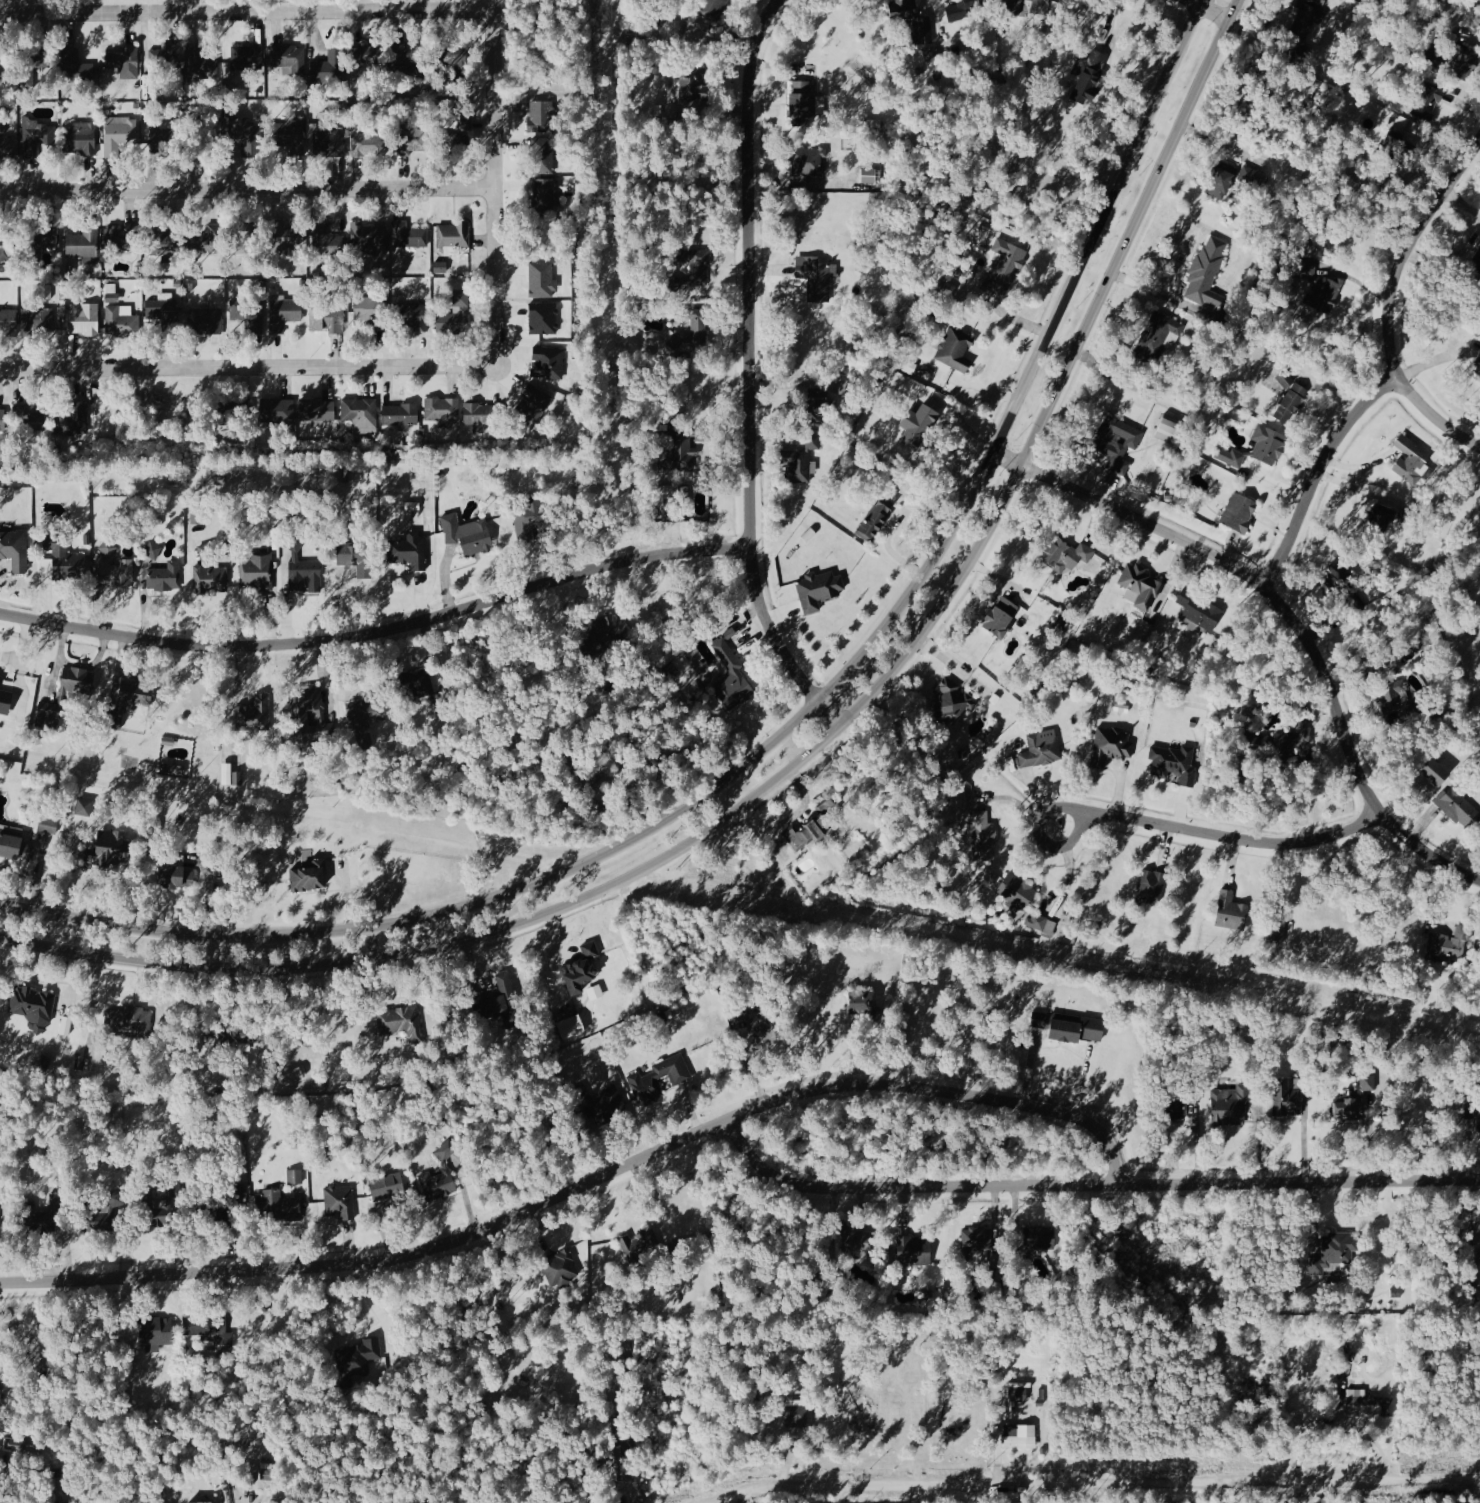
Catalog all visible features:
building: (1039, 6)
building: (711, 9)
road: (247, 11)
building: (965, 11)
road: (1208, 11)
building: (911, 19)
building: (1303, 23)
building: (246, 54)
building: (365, 54)
building: (453, 57)
building: (1451, 57)
building: (5, 58)
building: (289, 58)
building: (165, 59)
building: (406, 59)
building: (125, 61)
building: (195, 61)
building: (32, 64)
building: (76, 67)
building: (327, 67)
building: (1088, 74)
building: (457, 78)
building: (697, 88)
building: (1427, 100)
building: (800, 102)
building: (541, 115)
building: (313, 130)
building: (245, 132)
building: (290, 134)
building: (36, 135)
building: (119, 136)
building: (163, 137)
building: (81, 138)
building: (408, 140)
building: (205, 141)
building: (329, 143)
building: (363, 144)
building: (7, 147)
building: (454, 148)
building: (542, 155)
building: (808, 161)
building: (1221, 179)
road: (494, 182)
road: (247, 188)
building: (545, 195)
road: (1463, 204)
building: (410, 233)
building: (44, 234)
building: (454, 234)
building: (123, 235)
building: (239, 235)
building: (284, 236)
building: (205, 238)
building: (84, 240)
building: (326, 240)
building: (370, 240)
building: (165, 243)
building: (6, 244)
road: (1409, 252)
road: (1452, 257)
building: (696, 263)
building: (1477, 263)
building: (440, 268)
building: (1208, 268)
building: (1006, 269)
building: (1305, 270)
building: (816, 275)
building: (540, 280)
building: (675, 283)
road: (1154, 290)
building: (1324, 294)
building: (370, 310)
building: (248, 312)
building: (284, 313)
building: (164, 314)
building: (455, 314)
building: (413, 316)
building: (328, 317)
building: (85, 319)
building: (543, 319)
building: (36, 320)
building: (206, 321)
building: (697, 321)
building: (8, 322)
building: (123, 322)
building: (1155, 336)
building: (675, 342)
building: (955, 348)
building: (548, 362)
building: (1477, 367)
road: (248, 368)
road: (748, 373)
building: (1290, 402)
building: (817, 403)
building: (533, 404)
building: (442, 408)
building: (277, 410)
building: (318, 410)
building: (360, 411)
building: (28, 412)
building: (235, 412)
building: (400, 413)
building: (483, 413)
road: (1433, 418)
building: (2, 419)
building: (73, 419)
building: (917, 424)
building: (1166, 428)
building: (1117, 442)
building: (1267, 442)
building: (677, 448)
building: (1230, 457)
building: (800, 460)
building: (1412, 461)
road: (1318, 471)
building: (345, 474)
building: (421, 474)
building: (441, 474)
building: (462, 480)
building: (272, 504)
building: (672, 509)
building: (290, 512)
building: (1239, 512)
building: (1379, 516)
building: (531, 518)
building: (875, 519)
building: (467, 533)
building: (294, 543)
building: (14, 547)
building: (108, 547)
building: (409, 549)
building: (153, 550)
building: (207, 550)
building: (1063, 551)
building: (357, 556)
building: (63, 559)
building: (257, 571)
building: (117, 572)
building: (166, 575)
building: (305, 575)
building: (1337, 576)
building: (209, 577)
building: (1141, 585)
building: (818, 589)
building: (1200, 609)
road: (1288, 614)
building: (1000, 616)
road: (377, 626)
building: (604, 634)
building: (1417, 640)
road: (24, 651)
road: (77, 665)
building: (731, 676)
building: (77, 679)
building: (416, 683)
building: (136, 692)
building: (1390, 694)
building: (306, 696)
building: (952, 701)
building: (5, 702)
building: (446, 705)
building: (366, 712)
building: (254, 714)
building: (47, 718)
building: (111, 721)
building: (326, 729)
road: (790, 730)
building: (1288, 740)
building: (364, 741)
building: (168, 742)
building: (1111, 746)
building: (1040, 749)
road: (813, 751)
building: (1174, 762)
building: (174, 768)
building: (1433, 772)
building: (237, 777)
road: (1416, 793)
building: (829, 805)
building: (1458, 806)
building: (83, 807)
building: (47, 823)
building: (806, 831)
building: (983, 835)
road: (1220, 835)
road: (93, 839)
building: (16, 846)
building: (112, 848)
building: (176, 873)
building: (309, 875)
building: (1151, 885)
building: (1017, 890)
road: (348, 892)
building: (1231, 911)
building: (1042, 923)
building: (1276, 929)
building: (1449, 942)
road: (555, 958)
building: (581, 967)
road: (74, 977)
building: (1387, 979)
building: (595, 991)
building: (499, 1000)
building: (33, 1004)
building: (866, 1006)
road: (99, 1012)
building: (661, 1015)
building: (1038, 1018)
building: (129, 1019)
building: (402, 1020)
building: (767, 1020)
building: (740, 1023)
building: (571, 1025)
building: (65, 1026)
building: (1075, 1027)
building: (231, 1029)
building: (1306, 1065)
building: (291, 1075)
building: (643, 1077)
building: (322, 1081)
building: (1369, 1081)
building: (1459, 1085)
building: (1195, 1094)
building: (1285, 1096)
building: (1172, 1104)
building: (593, 1105)
building: (1230, 1105)
building: (1349, 1106)
building: (1472, 1109)
building: (323, 1131)
road: (1261, 1136)
building: (295, 1137)
building: (349, 1142)
building: (447, 1149)
building: (295, 1175)
building: (173, 1182)
road: (585, 1182)
building: (438, 1183)
road: (1089, 1185)
building: (389, 1187)
building: (238, 1191)
building: (58, 1197)
building: (116, 1198)
building: (341, 1200)
building: (279, 1205)
building: (154, 1211)
building: (217, 1215)
building: (36, 1217)
building: (98, 1217)
building: (1036, 1236)
building: (974, 1241)
building: (855, 1242)
building: (639, 1244)
building: (1339, 1247)
building: (914, 1251)
building: (561, 1267)
building: (208, 1326)
building: (154, 1331)
building: (358, 1359)
building: (1026, 1392)
building: (1364, 1404)
road: (1331, 1422)
building: (1020, 1435)
building: (13, 1444)
building: (624, 1463)
road: (1089, 1480)
building: (53, 1490)
road: (735, 1498)
building: (197, 1502)

